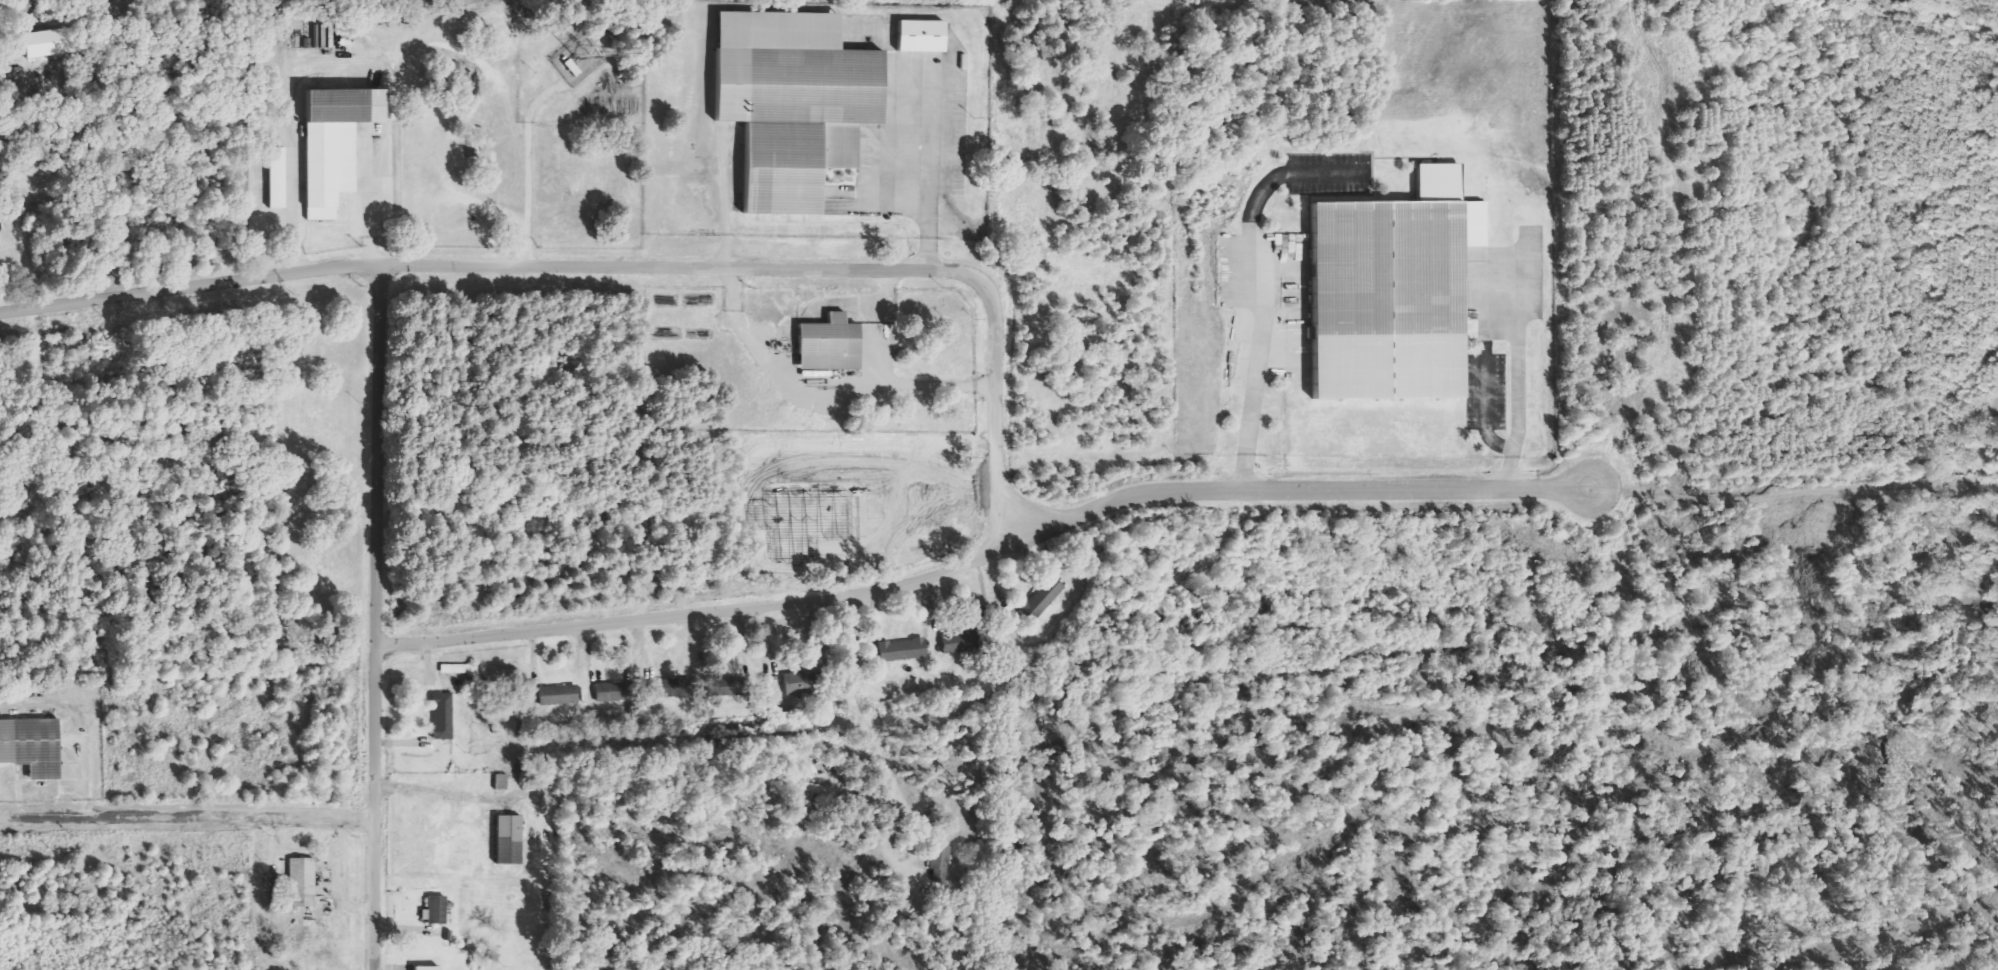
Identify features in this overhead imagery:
building: (922, 36)
building: (795, 103)
building: (336, 144)
road: (937, 171)
building: (277, 178)
road: (188, 287)
building: (1394, 292)
building: (831, 345)
road: (935, 384)
road: (824, 397)
road: (1001, 426)
road: (1294, 491)
building: (1043, 598)
road: (372, 617)
building: (959, 642)
building: (903, 651)
building: (725, 687)
building: (665, 689)
building: (610, 692)
building: (559, 695)
building: (443, 716)
road: (870, 735)
building: (32, 747)
building: (815, 789)
road: (185, 823)
building: (508, 837)
building: (940, 862)
building: (302, 882)
building: (436, 910)
building: (428, 968)

